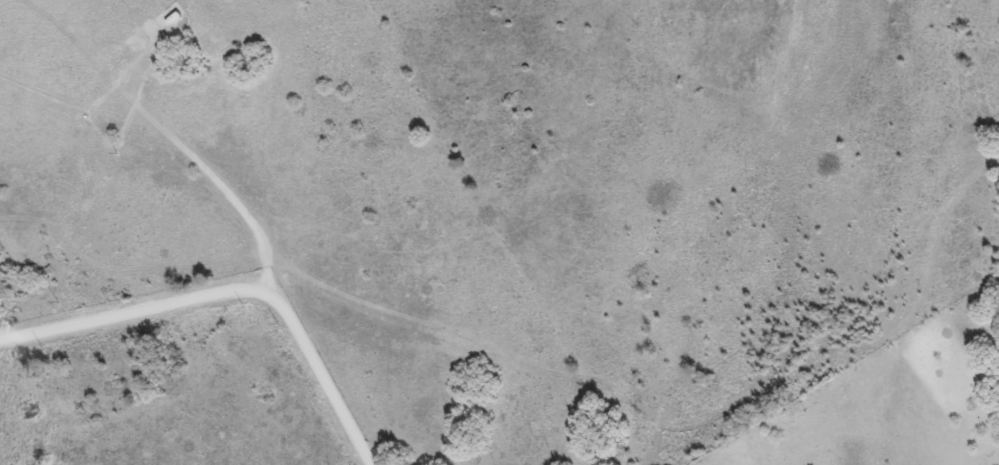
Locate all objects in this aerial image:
road: (233, 290)

